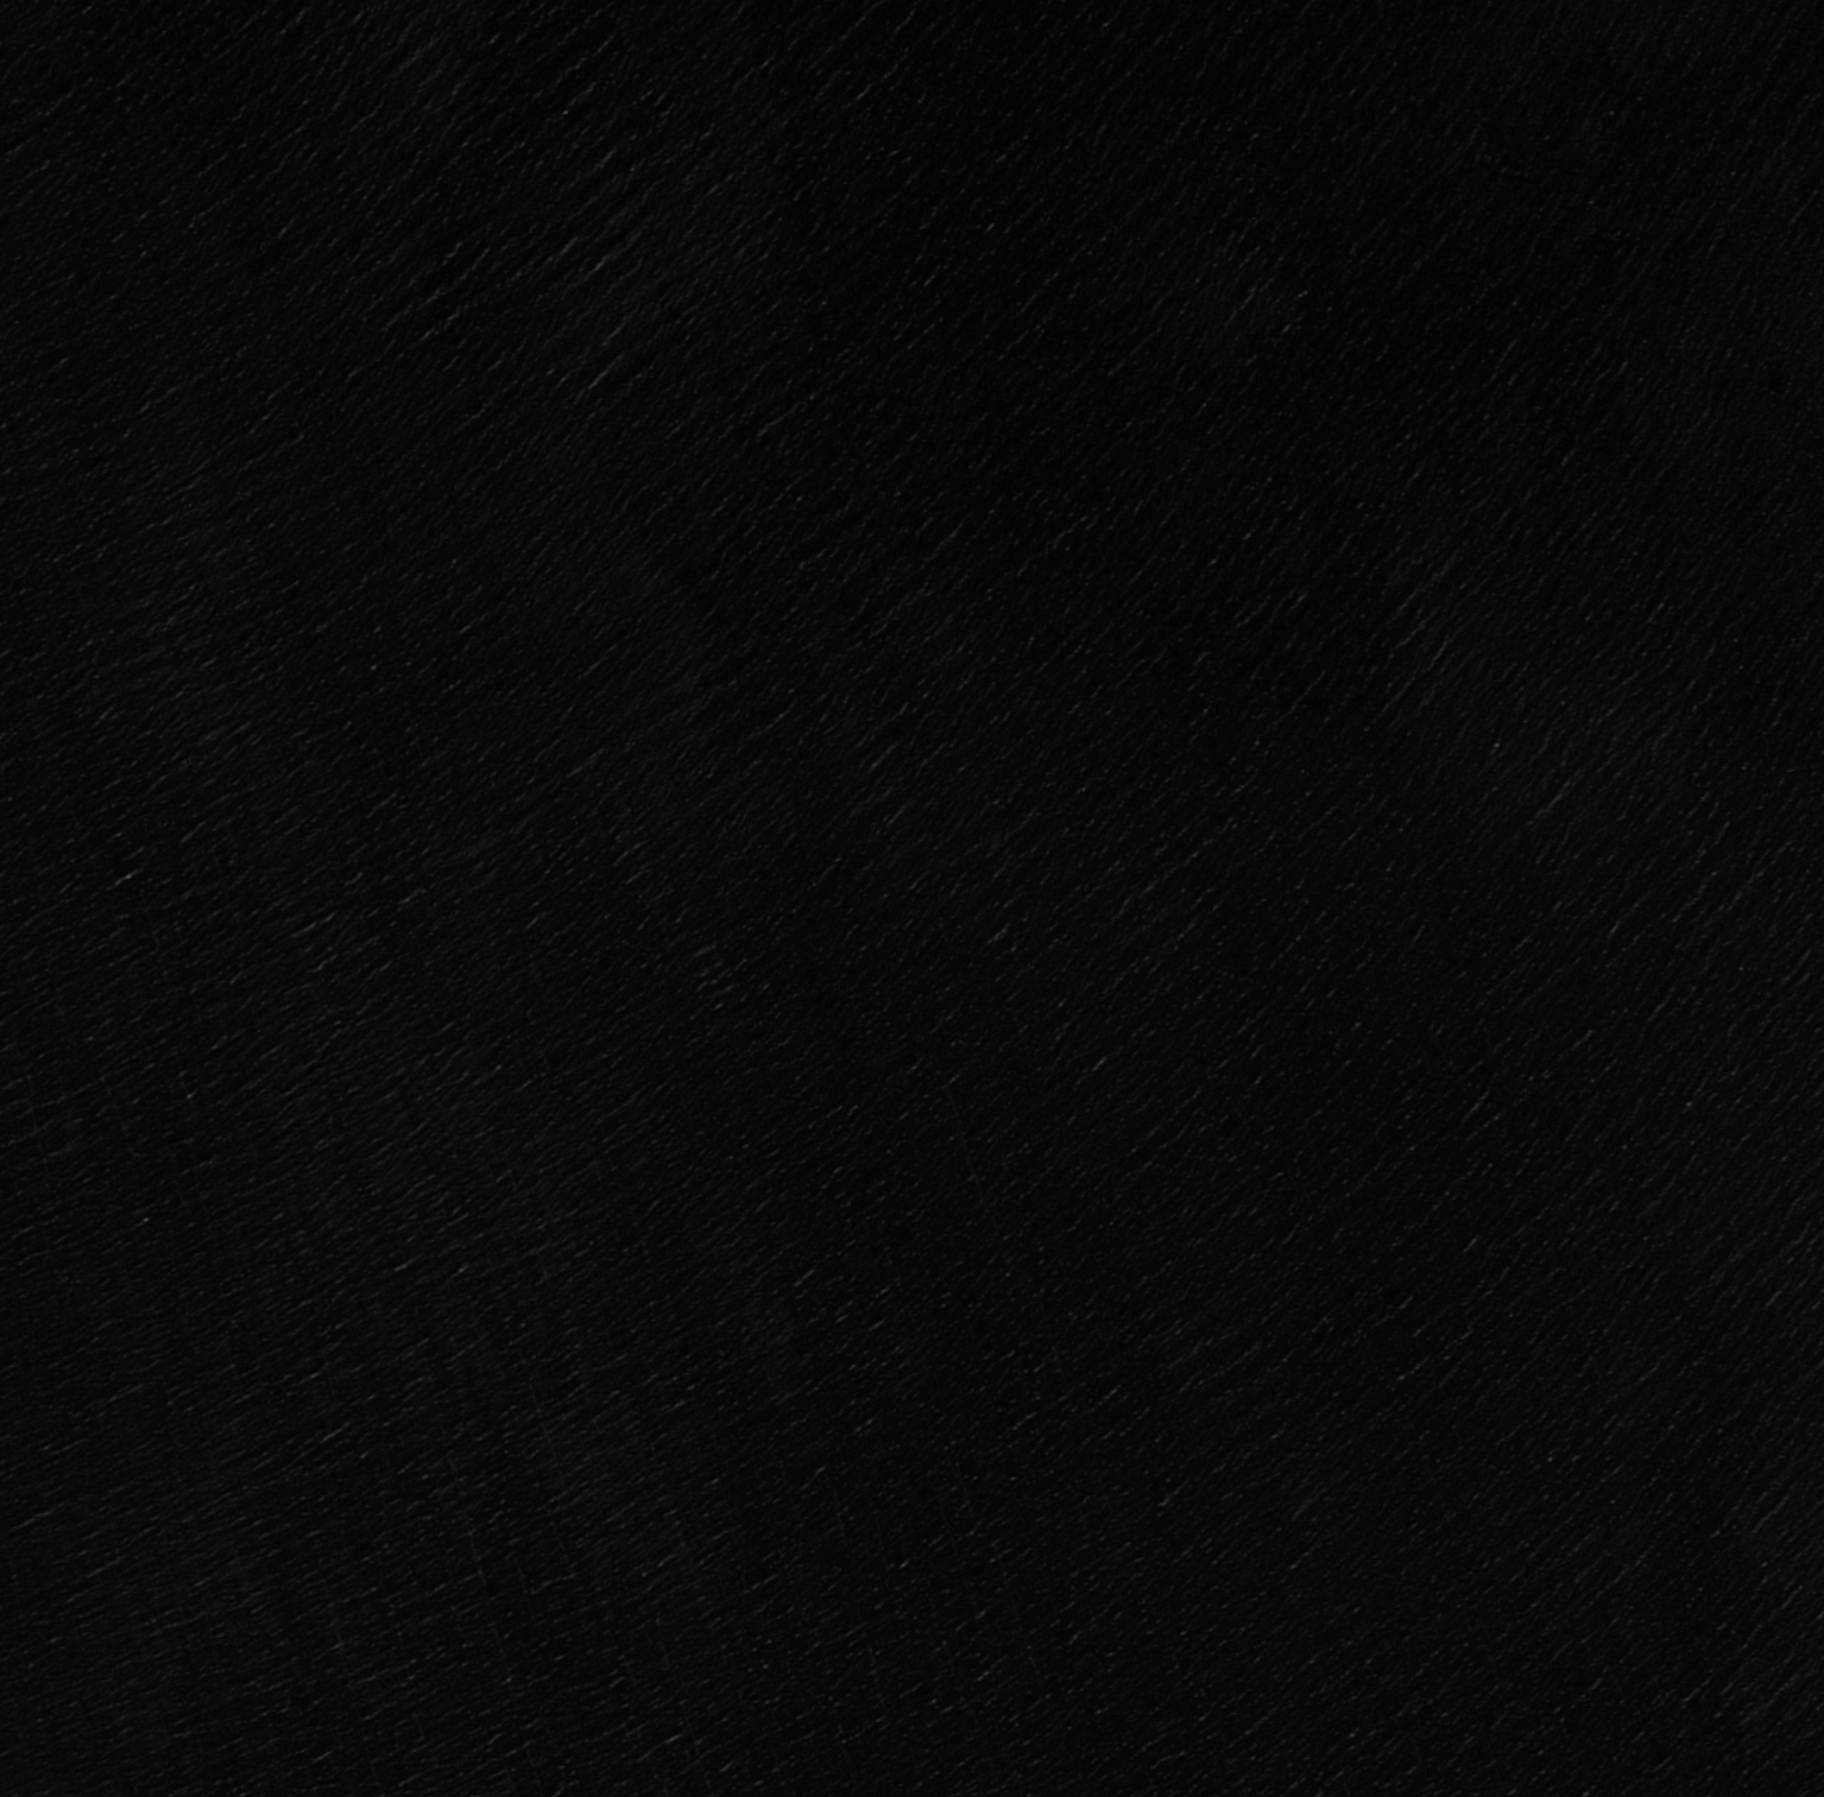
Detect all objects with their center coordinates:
building: (1507, 1270)

